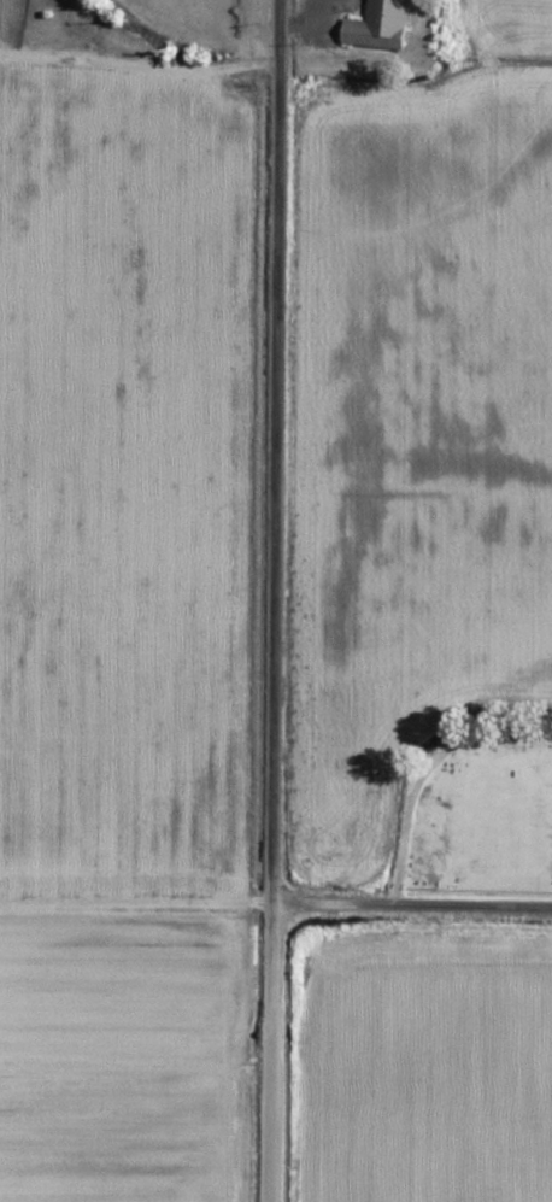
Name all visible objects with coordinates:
building: (378, 25)
road: (135, 55)
road: (270, 157)
road: (265, 758)
road: (424, 767)
park: (476, 810)
road: (133, 902)
road: (409, 902)

